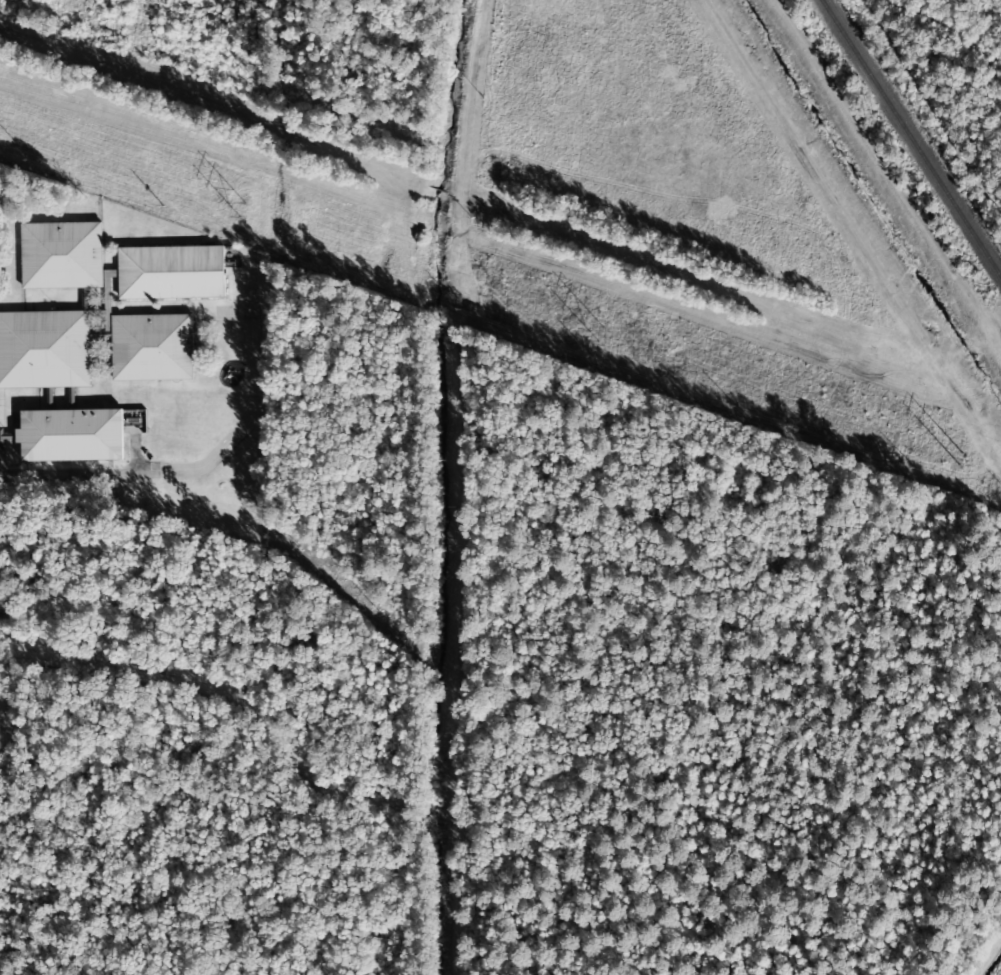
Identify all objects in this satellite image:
railway: (910, 139)
building: (62, 255)
building: (171, 272)
power tower: (602, 335)
building: (152, 347)
building: (44, 349)
building: (72, 435)
power tower: (967, 465)

